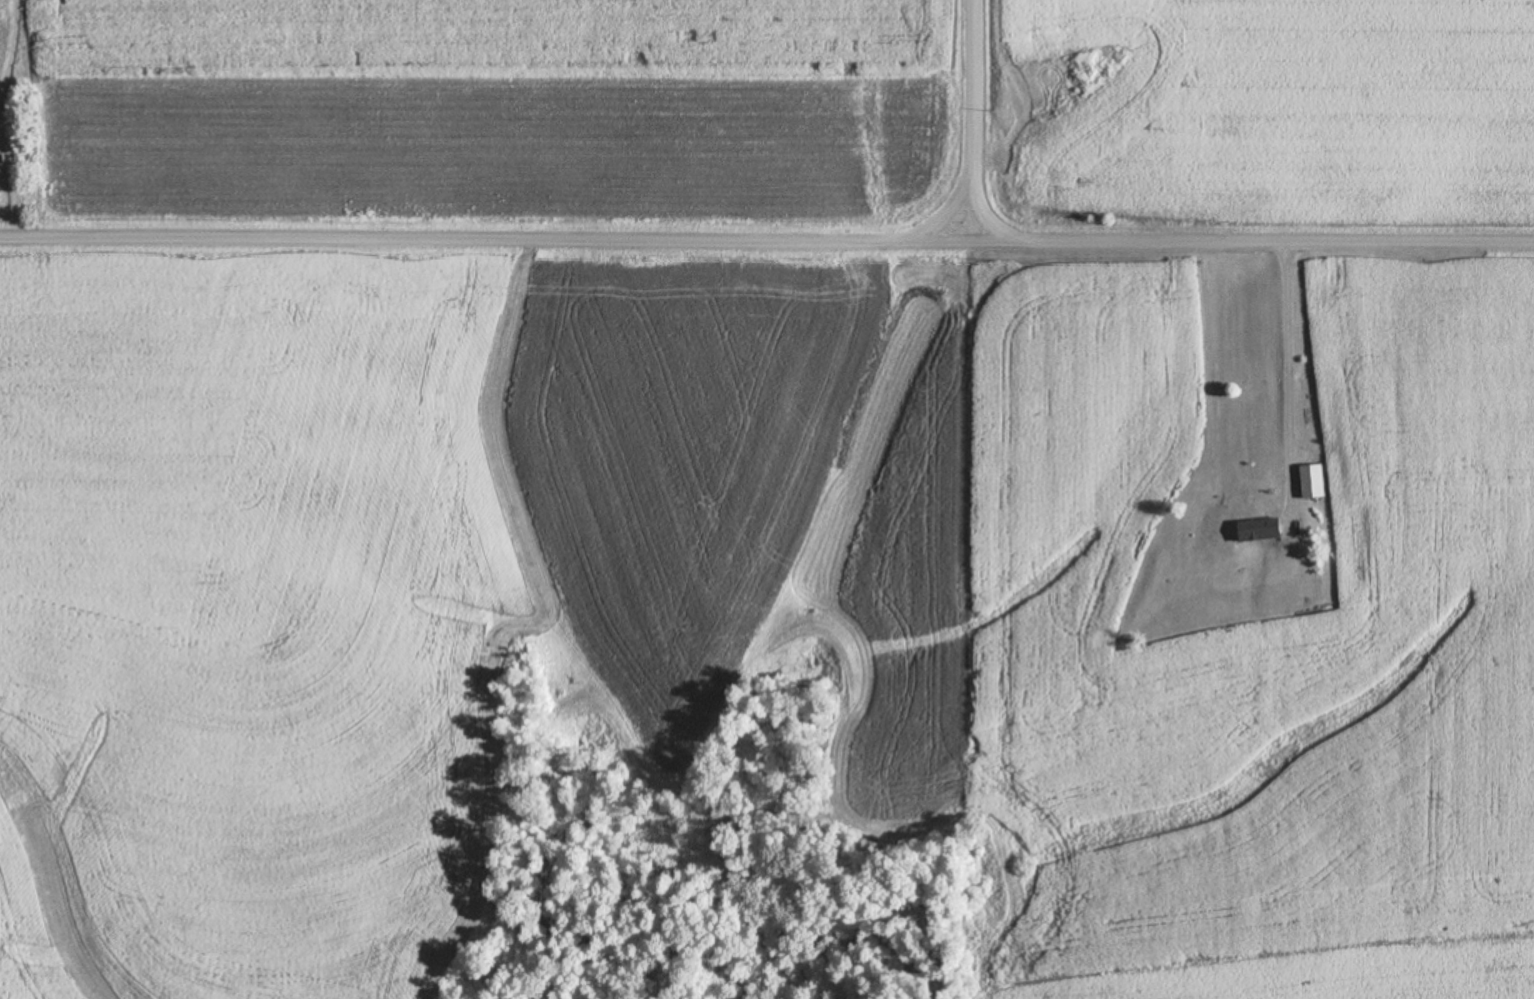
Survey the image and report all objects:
road: (976, 122)
road: (766, 242)
road: (1285, 379)
building: (1313, 480)
building: (1260, 528)

